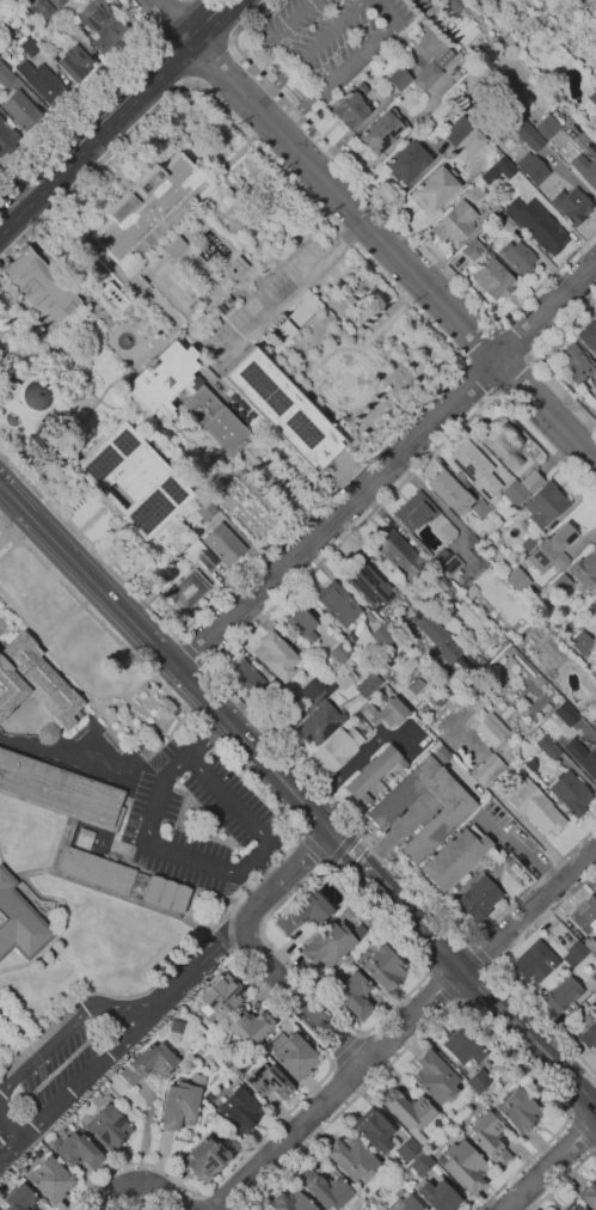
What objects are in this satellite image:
building: (414, 1)
building: (57, 4)
building: (425, 4)
building: (454, 5)
building: (38, 8)
road: (382, 10)
building: (444, 13)
building: (522, 13)
road: (162, 16)
road: (168, 18)
building: (103, 25)
road: (276, 35)
parking lot: (328, 41)
building: (27, 47)
building: (43, 48)
road: (307, 53)
building: (73, 62)
road: (213, 62)
building: (434, 69)
road: (332, 74)
building: (5, 75)
building: (399, 78)
building: (43, 82)
road: (299, 84)
road: (88, 87)
building: (592, 97)
road: (112, 109)
building: (20, 110)
building: (349, 110)
building: (447, 112)
road: (234, 124)
building: (547, 127)
building: (522, 128)
building: (457, 130)
building: (382, 132)
building: (6, 136)
building: (469, 145)
building: (407, 161)
building: (533, 167)
building: (585, 170)
building: (497, 171)
building: (434, 189)
building: (146, 204)
building: (573, 206)
road: (393, 209)
building: (505, 220)
building: (455, 224)
building: (537, 225)
building: (174, 246)
building: (473, 249)
road: (389, 251)
building: (484, 256)
building: (520, 257)
building: (241, 268)
building: (493, 279)
building: (38, 287)
road: (290, 288)
building: (115, 295)
parking lot: (276, 298)
building: (197, 304)
road: (382, 325)
building: (589, 335)
road: (517, 340)
road: (483, 341)
fountain: (125, 342)
road: (328, 348)
road: (535, 359)
road: (462, 360)
building: (575, 363)
park: (199, 365)
road: (514, 375)
road: (479, 377)
road: (352, 381)
building: (595, 395)
building: (149, 397)
building: (26, 405)
building: (283, 409)
building: (499, 436)
road: (387, 466)
building: (475, 470)
building: (547, 476)
building: (134, 479)
building: (532, 482)
building: (449, 491)
building: (515, 491)
road: (319, 500)
building: (545, 505)
building: (480, 508)
building: (204, 509)
building: (414, 511)
road: (5, 534)
building: (473, 540)
building: (223, 544)
building: (527, 544)
road: (87, 546)
building: (486, 549)
building: (552, 550)
building: (199, 554)
building: (398, 555)
building: (448, 562)
building: (585, 569)
building: (160, 576)
road: (90, 579)
building: (517, 580)
building: (561, 583)
building: (368, 586)
building: (473, 589)
building: (188, 591)
building: (595, 592)
building: (338, 604)
road: (64, 622)
building: (500, 622)
building: (302, 624)
building: (426, 624)
building: (385, 634)
building: (582, 643)
building: (337, 653)
road: (193, 654)
building: (276, 656)
building: (588, 661)
building: (481, 662)
building: (466, 665)
building: (524, 666)
building: (358, 667)
road: (213, 672)
road: (62, 673)
building: (246, 678)
building: (345, 678)
building: (368, 684)
building: (314, 686)
road: (136, 687)
building: (32, 693)
building: (405, 698)
building: (294, 707)
building: (508, 711)
building: (385, 713)
building: (566, 714)
building: (320, 719)
building: (594, 723)
building: (491, 729)
road: (154, 737)
road: (210, 741)
building: (548, 746)
building: (337, 750)
road: (254, 752)
road: (85, 754)
road: (360, 757)
building: (583, 757)
building: (530, 765)
building: (487, 770)
building: (371, 774)
building: (59, 788)
building: (571, 793)
building: (451, 796)
building: (533, 806)
parking lot: (205, 824)
road: (357, 829)
road: (299, 833)
building: (84, 838)
road: (63, 842)
road: (342, 847)
road: (314, 848)
road: (254, 856)
building: (455, 857)
building: (56, 858)
road: (330, 864)
road: (130, 866)
road: (327, 866)
building: (96, 869)
road: (264, 874)
road: (382, 887)
building: (595, 888)
building: (165, 894)
road: (214, 897)
building: (478, 898)
road: (146, 904)
road: (233, 909)
road: (530, 910)
building: (302, 912)
building: (584, 915)
building: (21, 918)
road: (69, 927)
building: (328, 945)
building: (591, 946)
road: (258, 952)
building: (573, 954)
building: (534, 961)
building: (385, 967)
road: (494, 971)
building: (594, 977)
road: (442, 984)
building: (561, 994)
building: (221, 995)
building: (355, 995)
road: (453, 1006)
road: (516, 1022)
road: (12, 1026)
road: (63, 1026)
building: (250, 1026)
building: (159, 1029)
building: (589, 1035)
road: (121, 1038)
building: (222, 1038)
building: (461, 1046)
road: (348, 1051)
road: (31, 1053)
building: (293, 1055)
parking lot: (67, 1063)
building: (148, 1063)
road: (41, 1071)
building: (435, 1077)
building: (478, 1081)
building: (268, 1082)
road: (338, 1087)
building: (182, 1101)
building: (239, 1110)
building: (407, 1110)
building: (518, 1111)
building: (109, 1127)
building: (373, 1130)
building: (448, 1130)
road: (583, 1130)
road: (5, 1135)
building: (489, 1138)
building: (54, 1141)
building: (407, 1149)
building: (78, 1151)
building: (209, 1156)
building: (352, 1159)
building: (418, 1165)
building: (463, 1165)
road: (552, 1167)
road: (563, 1179)
building: (50, 1180)
road: (137, 1184)
building: (327, 1191)
building: (437, 1196)
building: (588, 1196)
building: (19, 1198)
road: (139, 1202)
building: (290, 1202)
building: (404, 1204)
building: (571, 1206)

